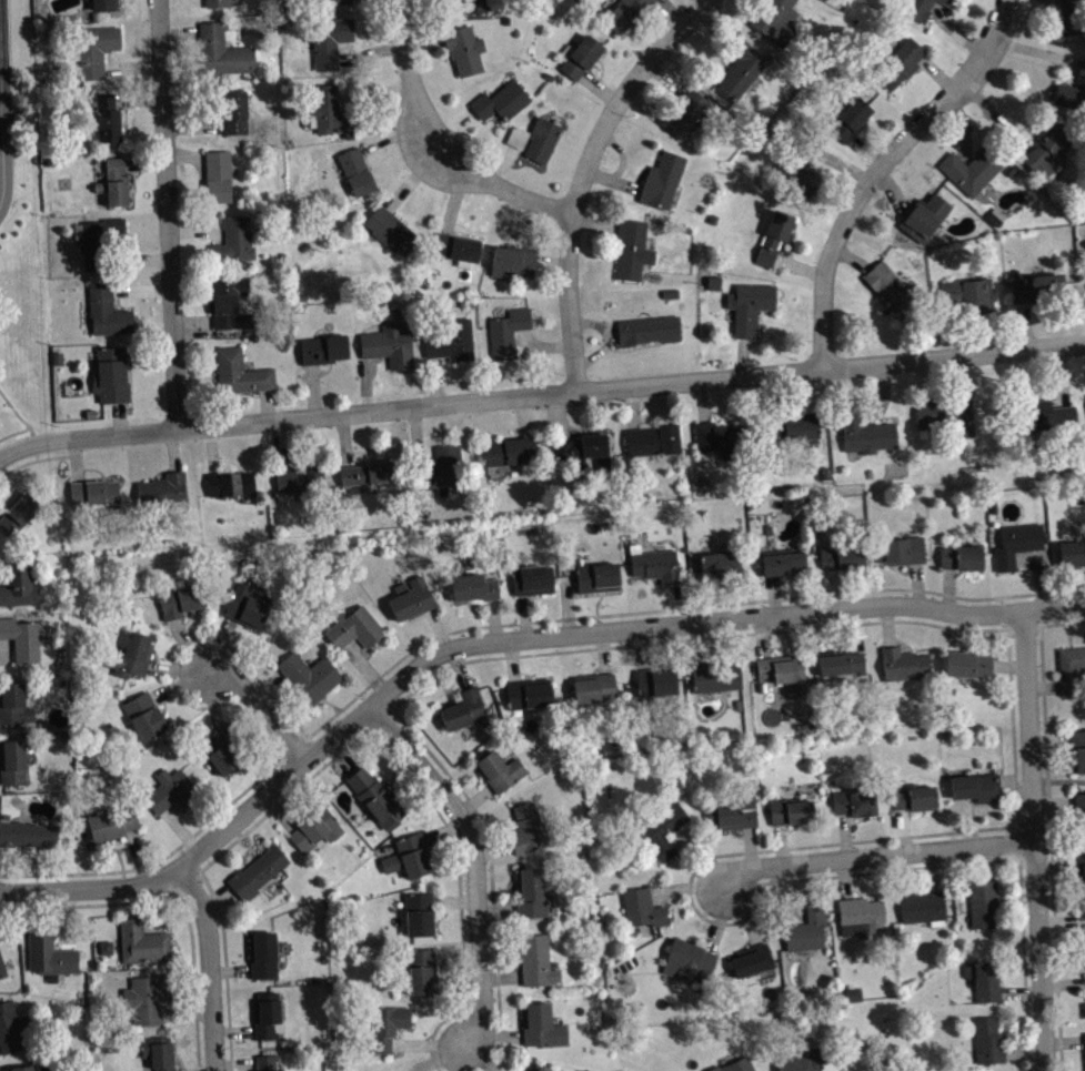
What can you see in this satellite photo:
road: (704, 0)
building: (333, 1)
building: (218, 2)
building: (947, 2)
building: (101, 3)
building: (473, 6)
building: (916, 8)
building: (624, 13)
building: (1069, 18)
building: (773, 20)
building: (329, 40)
building: (463, 49)
building: (92, 50)
building: (221, 51)
building: (579, 55)
building: (900, 62)
building: (739, 68)
road: (4, 74)
parking lot: (4, 87)
building: (1072, 91)
building: (500, 101)
building: (330, 111)
building: (233, 113)
building: (684, 113)
building: (104, 118)
building: (850, 120)
building: (535, 139)
building: (1045, 150)
road: (428, 153)
building: (796, 168)
building: (972, 169)
building: (355, 172)
road: (880, 172)
building: (217, 175)
road: (585, 179)
building: (661, 180)
building: (113, 181)
road: (168, 215)
building: (923, 216)
building: (994, 216)
building: (390, 230)
building: (773, 236)
building: (98, 239)
building: (233, 240)
building: (456, 249)
building: (631, 249)
building: (512, 260)
building: (1036, 286)
building: (891, 289)
building: (967, 294)
building: (229, 303)
building: (749, 306)
building: (107, 311)
building: (646, 330)
building: (506, 332)
building: (452, 341)
building: (388, 345)
building: (322, 348)
building: (239, 372)
building: (110, 375)
road: (541, 397)
building: (1052, 415)
building: (945, 416)
road: (22, 418)
building: (794, 427)
road: (14, 432)
building: (865, 434)
building: (721, 435)
building: (652, 439)
building: (508, 451)
building: (582, 452)
road: (40, 458)
building: (440, 469)
building: (365, 473)
building: (300, 481)
building: (229, 483)
building: (163, 491)
building: (93, 492)
building: (18, 513)
building: (1016, 544)
building: (903, 549)
building: (1072, 553)
building: (841, 555)
building: (961, 556)
building: (782, 560)
building: (717, 564)
building: (654, 565)
building: (596, 577)
building: (531, 579)
building: (18, 585)
building: (472, 586)
building: (410, 598)
building: (180, 599)
building: (244, 608)
building: (353, 627)
building: (20, 638)
road: (501, 645)
building: (130, 655)
building: (838, 661)
building: (902, 664)
building: (966, 664)
building: (778, 669)
building: (1072, 670)
building: (308, 676)
building: (715, 677)
road: (1009, 678)
building: (654, 680)
building: (593, 687)
building: (528, 693)
road: (358, 694)
building: (13, 704)
building: (462, 709)
road: (261, 713)
building: (143, 716)
road: (354, 740)
building: (1077, 750)
building: (222, 754)
building: (11, 761)
building: (498, 770)
building: (974, 787)
building: (171, 790)
building: (374, 797)
building: (912, 797)
building: (854, 801)
building: (1081, 809)
building: (790, 810)
building: (733, 811)
building: (111, 822)
building: (661, 825)
road: (1048, 826)
building: (314, 828)
building: (526, 828)
building: (27, 833)
road: (1033, 841)
building: (408, 856)
road: (874, 858)
road: (474, 868)
building: (255, 871)
building: (1081, 873)
road: (175, 892)
building: (531, 892)
building: (983, 903)
building: (922, 907)
building: (641, 908)
building: (418, 913)
building: (860, 916)
building: (806, 929)
building: (141, 942)
building: (1082, 943)
building: (262, 954)
building: (49, 956)
building: (535, 960)
building: (750, 960)
building: (687, 961)
building: (1, 968)
road: (210, 970)
building: (421, 970)
building: (983, 980)
building: (147, 997)
building: (856, 1001)
building: (1084, 1009)
building: (264, 1014)
building: (386, 1024)
building: (540, 1024)
building: (12, 1028)
building: (987, 1040)
building: (1084, 1044)
building: (158, 1052)
building: (802, 1061)
building: (265, 1062)
building: (733, 1065)
building: (21, 1068)
building: (541, 1068)
building: (522, 1070)

